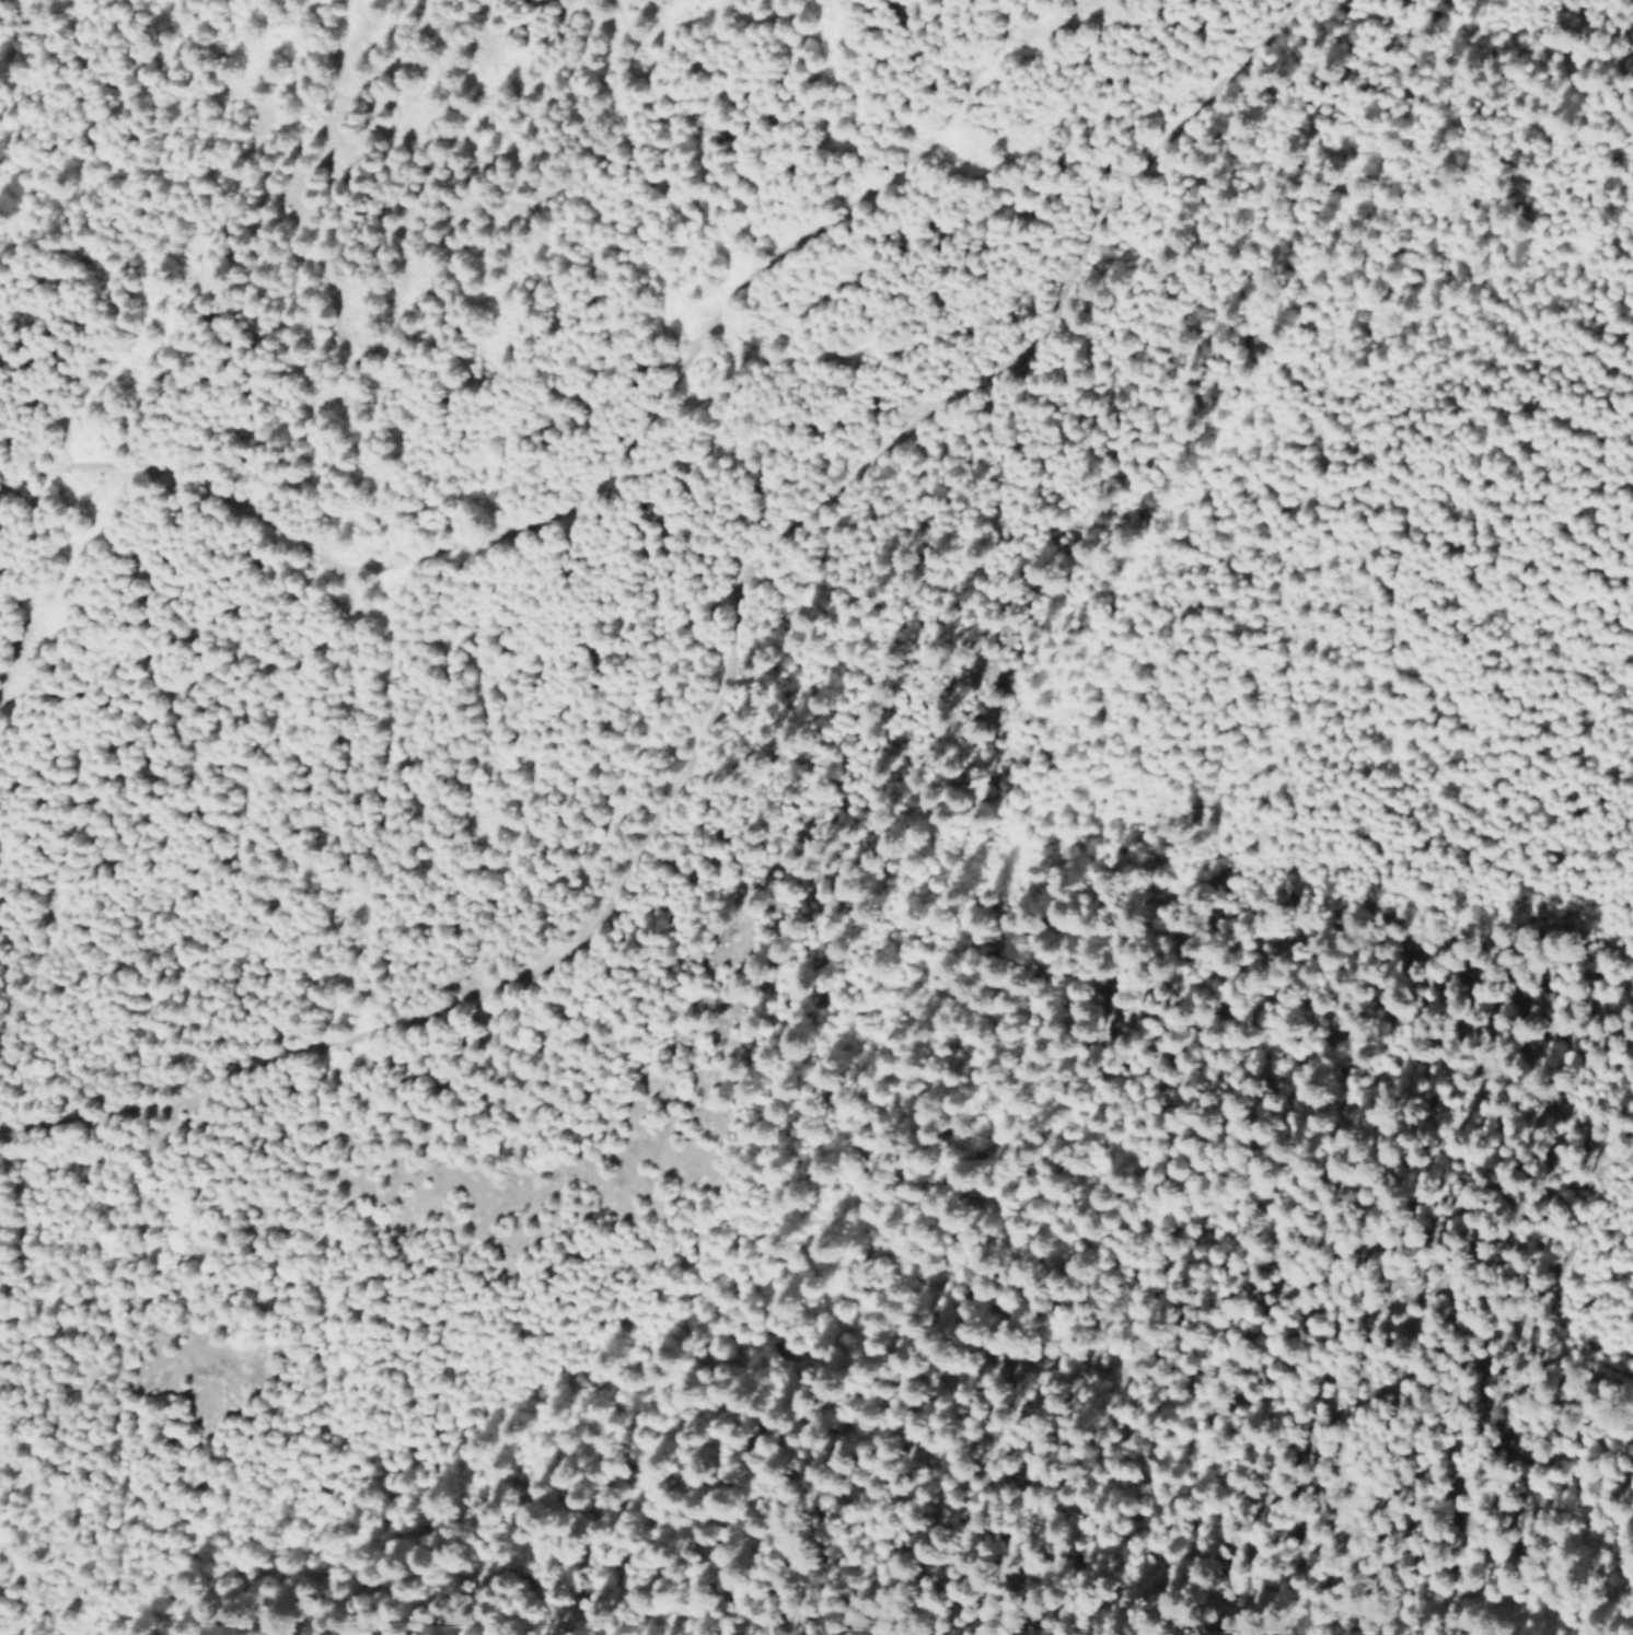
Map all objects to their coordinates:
road: (706, 666)

